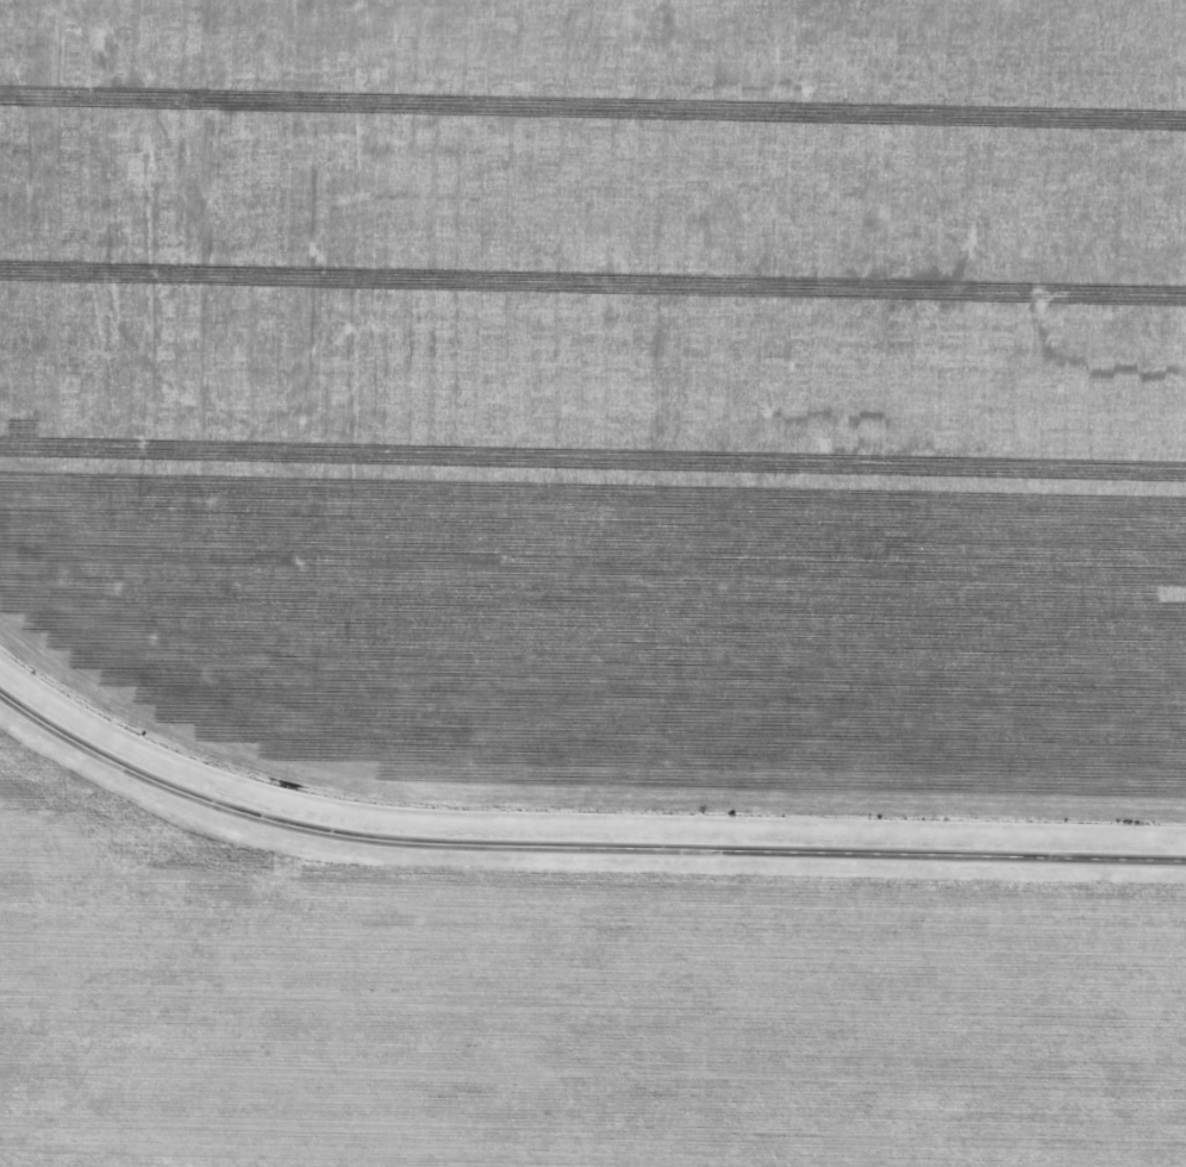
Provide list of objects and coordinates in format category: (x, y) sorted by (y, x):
road: (576, 848)

